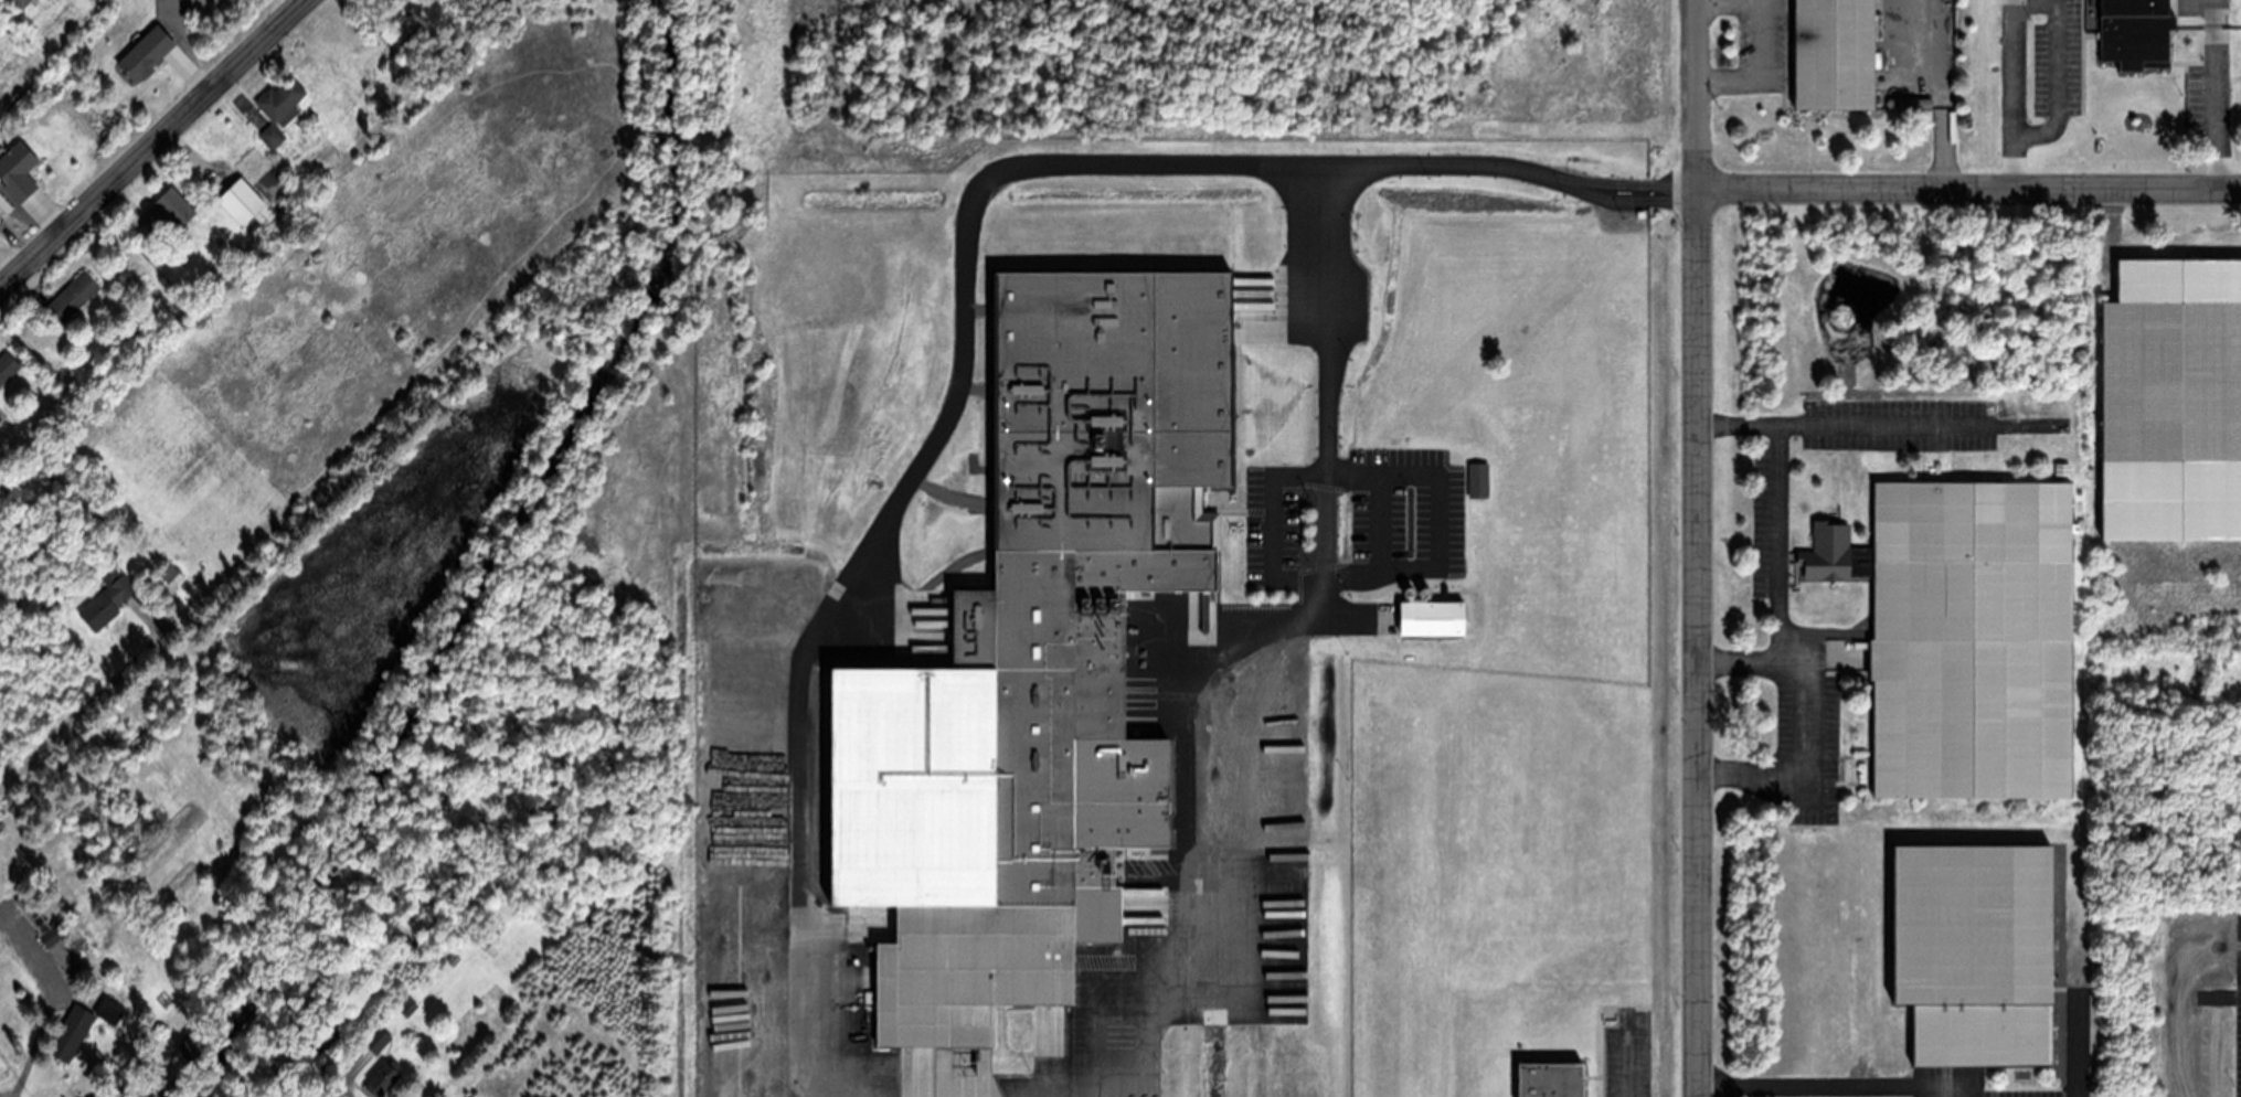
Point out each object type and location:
building: (22, 2)
building: (394, 32)
building: (2135, 32)
building: (145, 52)
building: (1834, 54)
building: (282, 99)
building: (360, 128)
building: (272, 135)
road: (150, 145)
road: (1976, 195)
building: (241, 200)
building: (168, 210)
road: (963, 289)
building: (73, 296)
building: (8, 365)
building: (2170, 380)
building: (1, 416)
building: (2063, 468)
building: (1220, 478)
building: (1476, 479)
road: (1708, 548)
building: (168, 575)
building: (108, 598)
building: (1425, 616)
building: (1965, 635)
road: (93, 709)
building: (1062, 784)
building: (752, 814)
building: (921, 841)
building: (51, 933)
building: (485, 933)
building: (458, 949)
building: (1974, 952)
building: (454, 958)
building: (408, 1007)
building: (110, 1009)
building: (72, 1032)
building: (378, 1039)
building: (189, 1048)
building: (384, 1077)
building: (1551, 1079)
building: (129, 1091)
building: (96, 1095)

